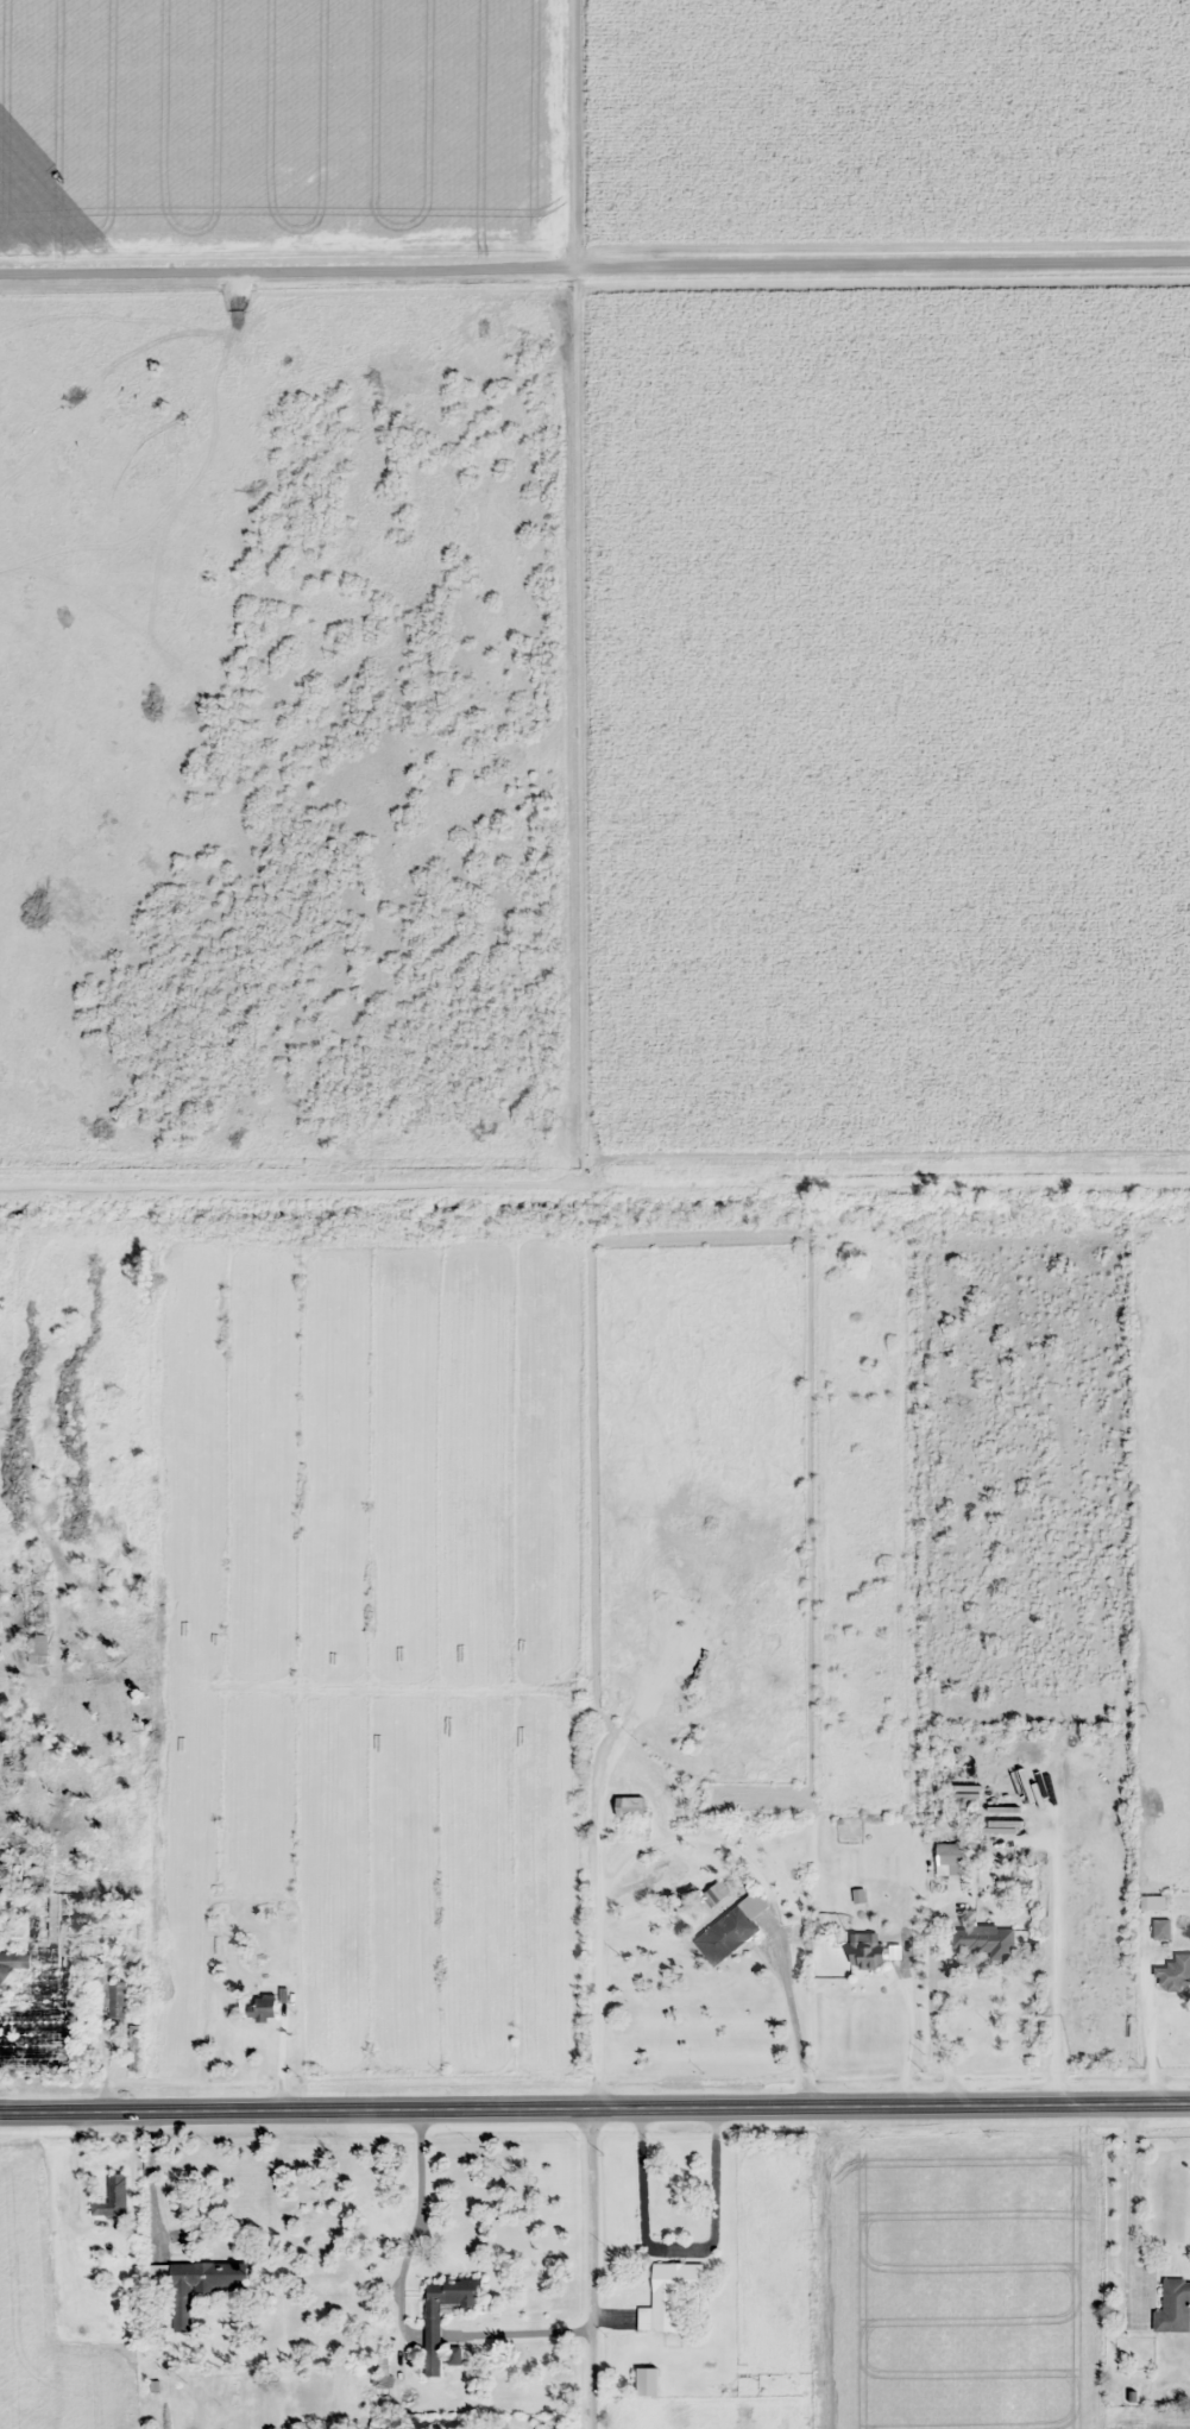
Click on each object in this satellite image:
road: (543, 130)
road: (594, 259)
building: (36, 1622)
building: (963, 1793)
building: (630, 1807)
building: (950, 1859)
building: (731, 1928)
building: (1160, 1928)
building: (984, 1940)
building: (865, 1951)
building: (13, 1964)
building: (1173, 1975)
building: (117, 1994)
building: (265, 2007)
road: (594, 2107)
building: (113, 2197)
road: (590, 2268)
building: (200, 2285)
building: (672, 2292)
building: (1173, 2307)
building: (432, 2340)
building: (454, 2356)
building: (382, 2387)

